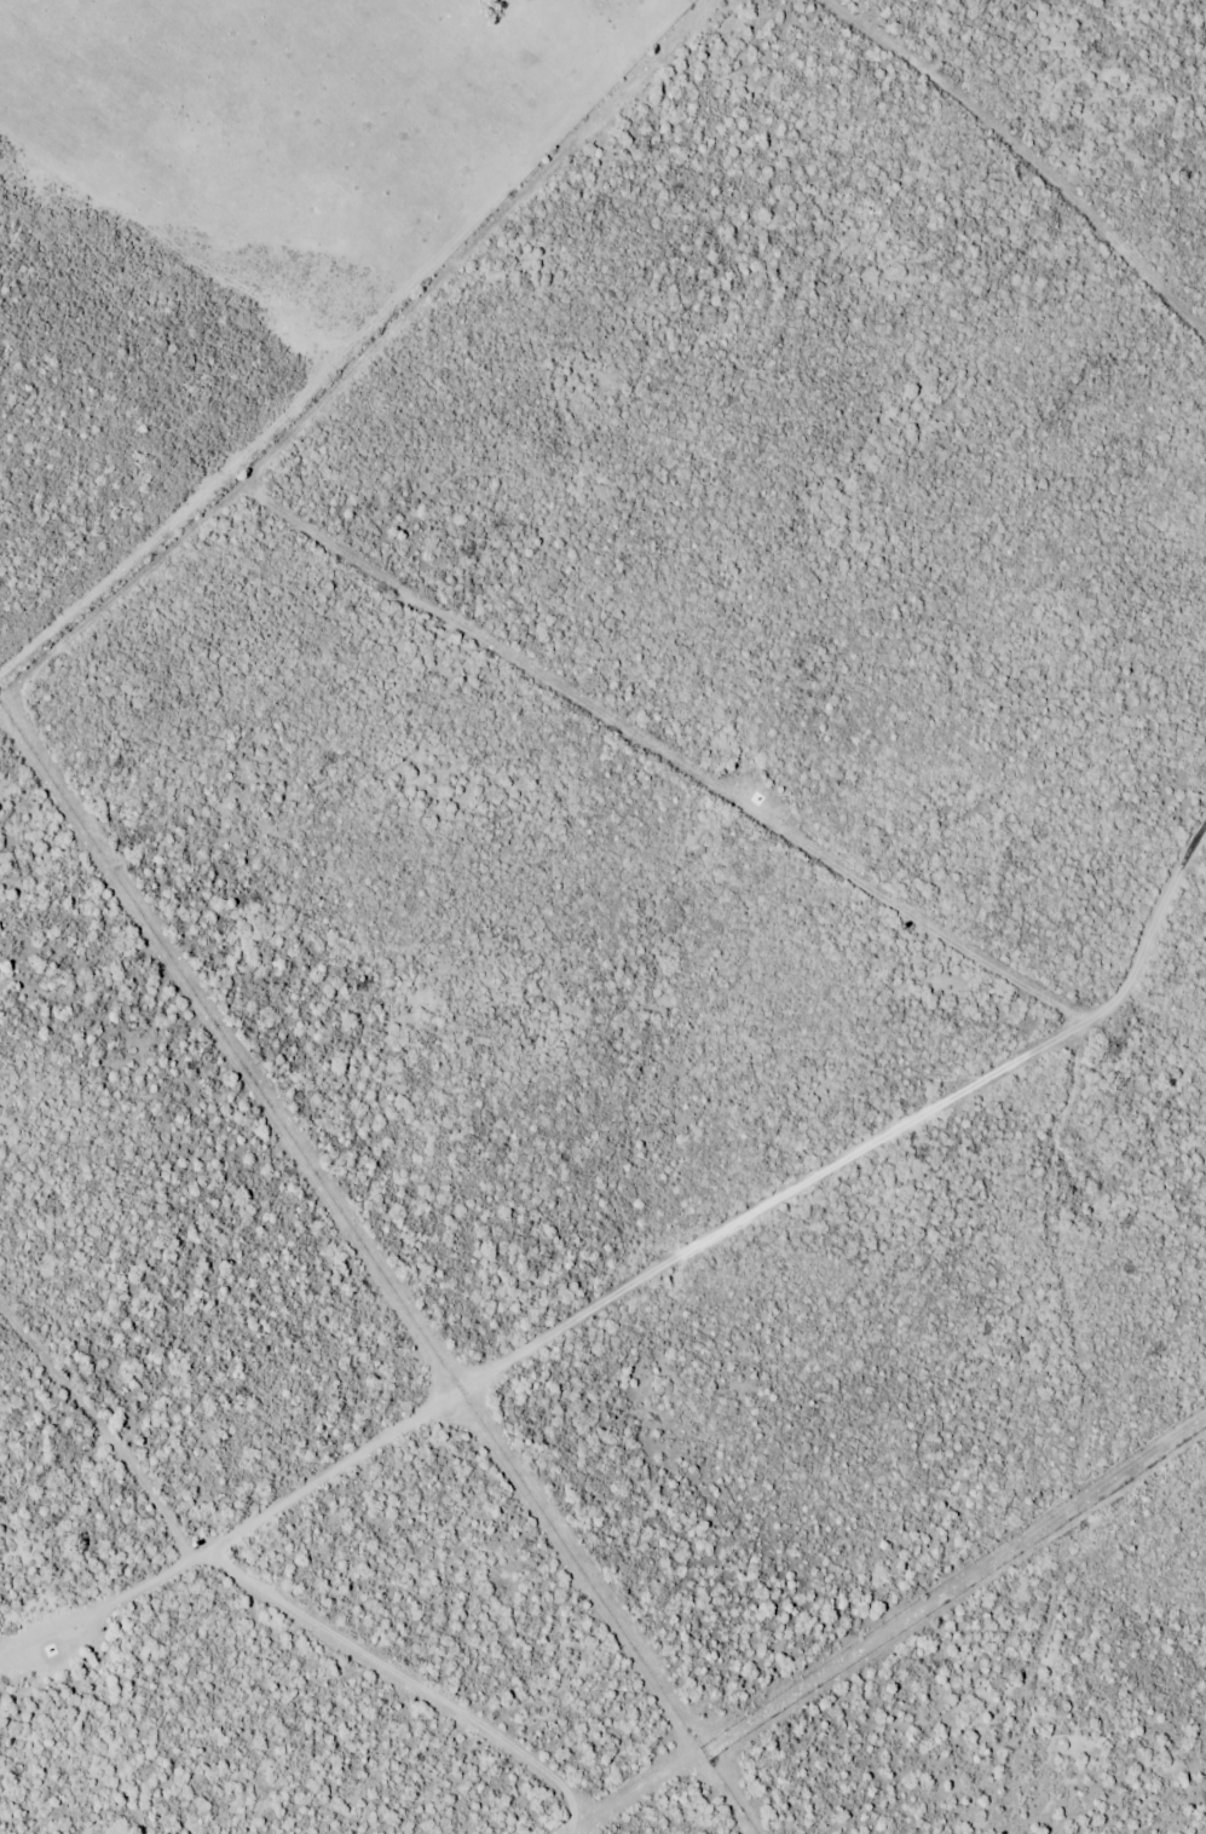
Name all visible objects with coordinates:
road: (1078, 1315)

